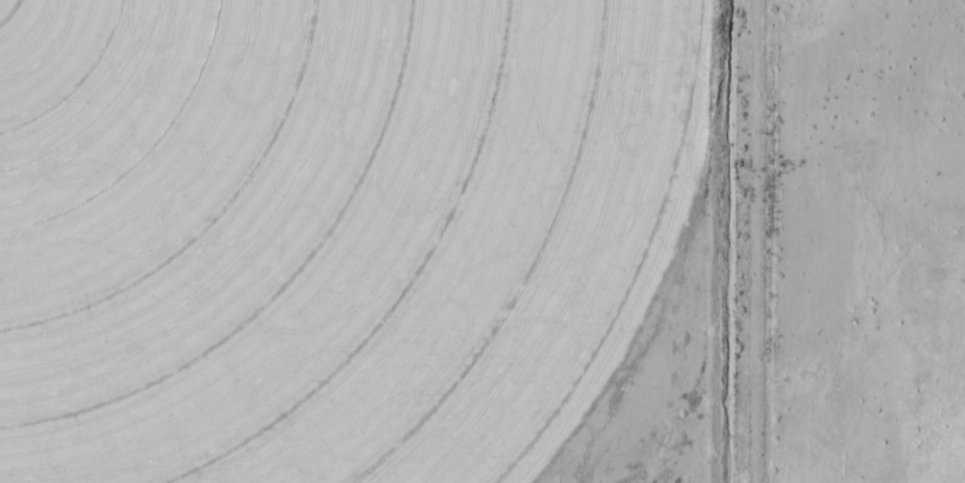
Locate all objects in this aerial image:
crop: (327, 229)

